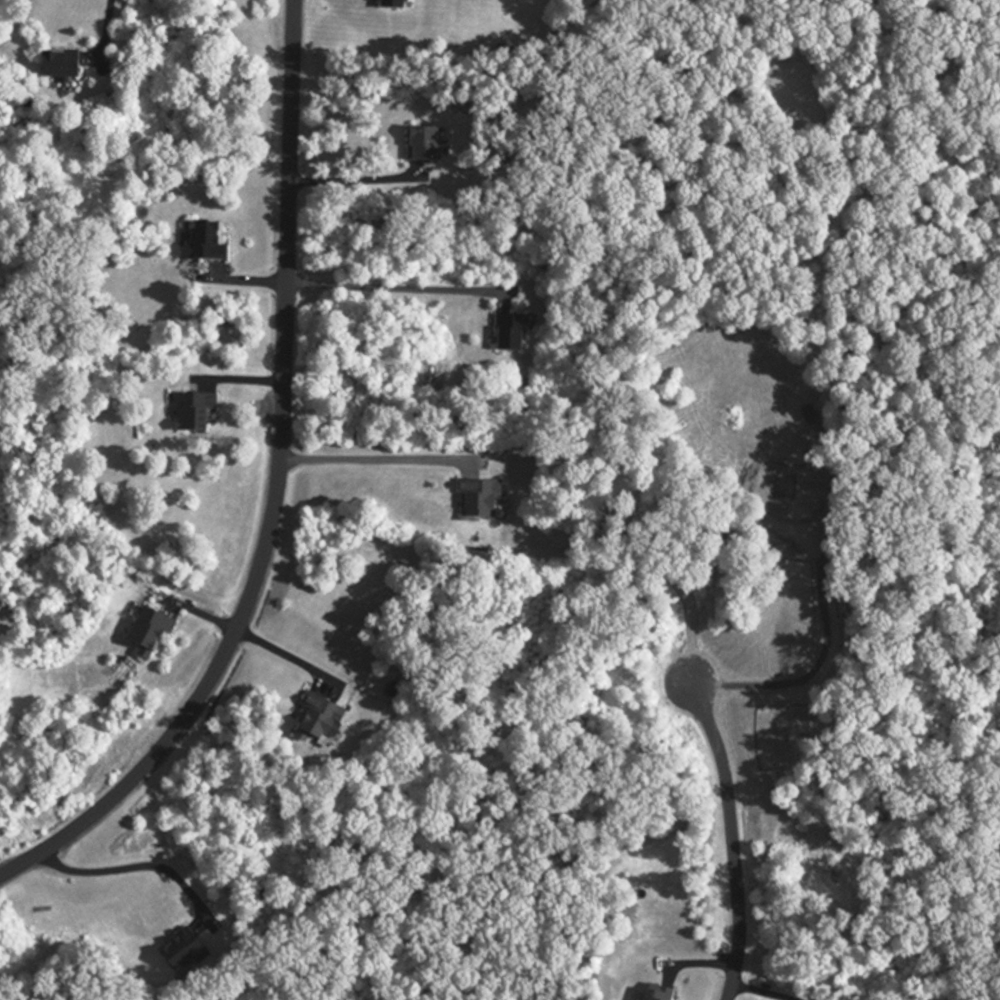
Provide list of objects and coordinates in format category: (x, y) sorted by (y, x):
building: (391, 5)
road: (112, 34)
building: (59, 65)
building: (421, 146)
road: (353, 181)
building: (204, 244)
road: (393, 288)
building: (509, 335)
building: (195, 412)
road: (373, 461)
road: (745, 478)
road: (275, 491)
building: (479, 502)
building: (151, 634)
road: (287, 658)
building: (320, 722)
road: (730, 840)
road: (122, 871)
building: (181, 952)
building: (659, 993)

